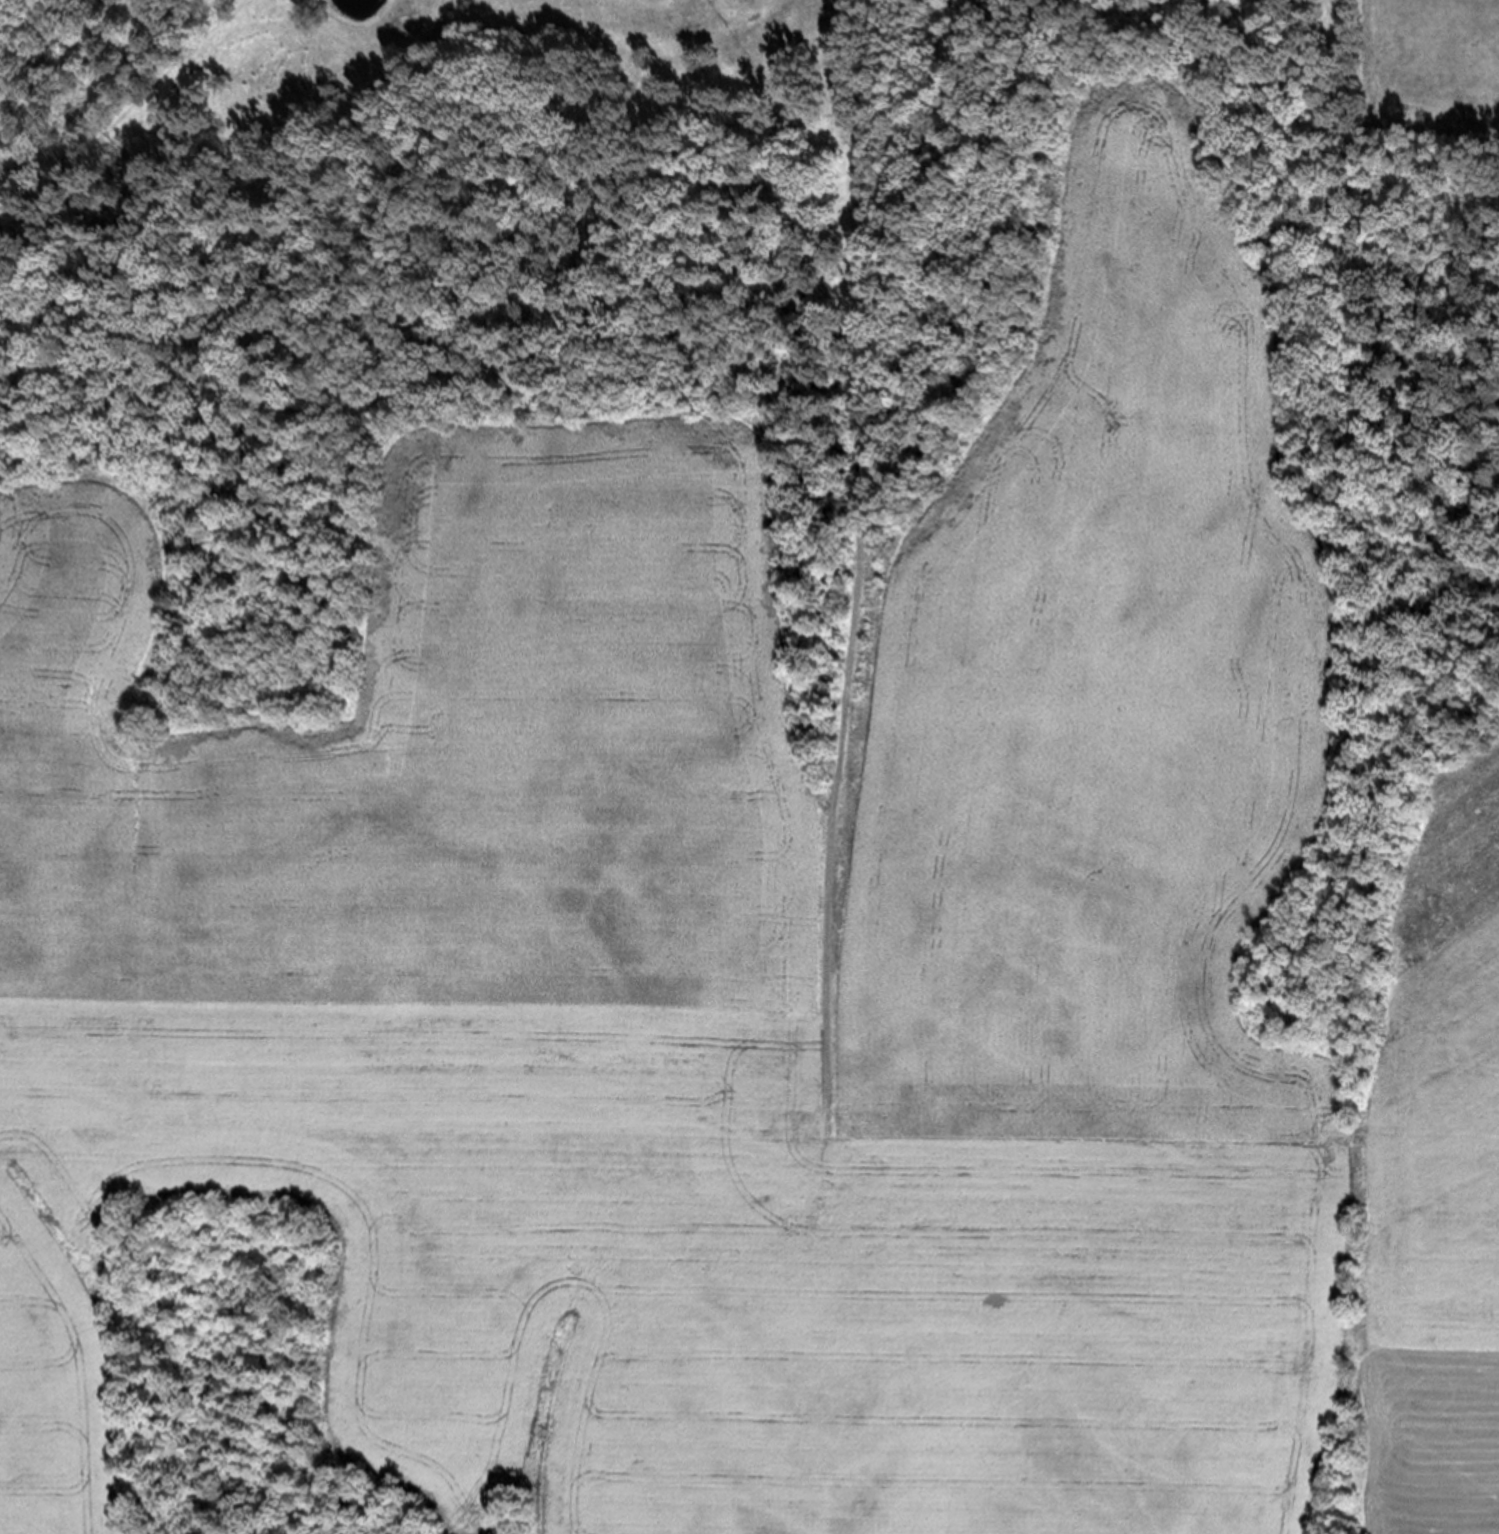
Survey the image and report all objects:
road: (858, 576)

